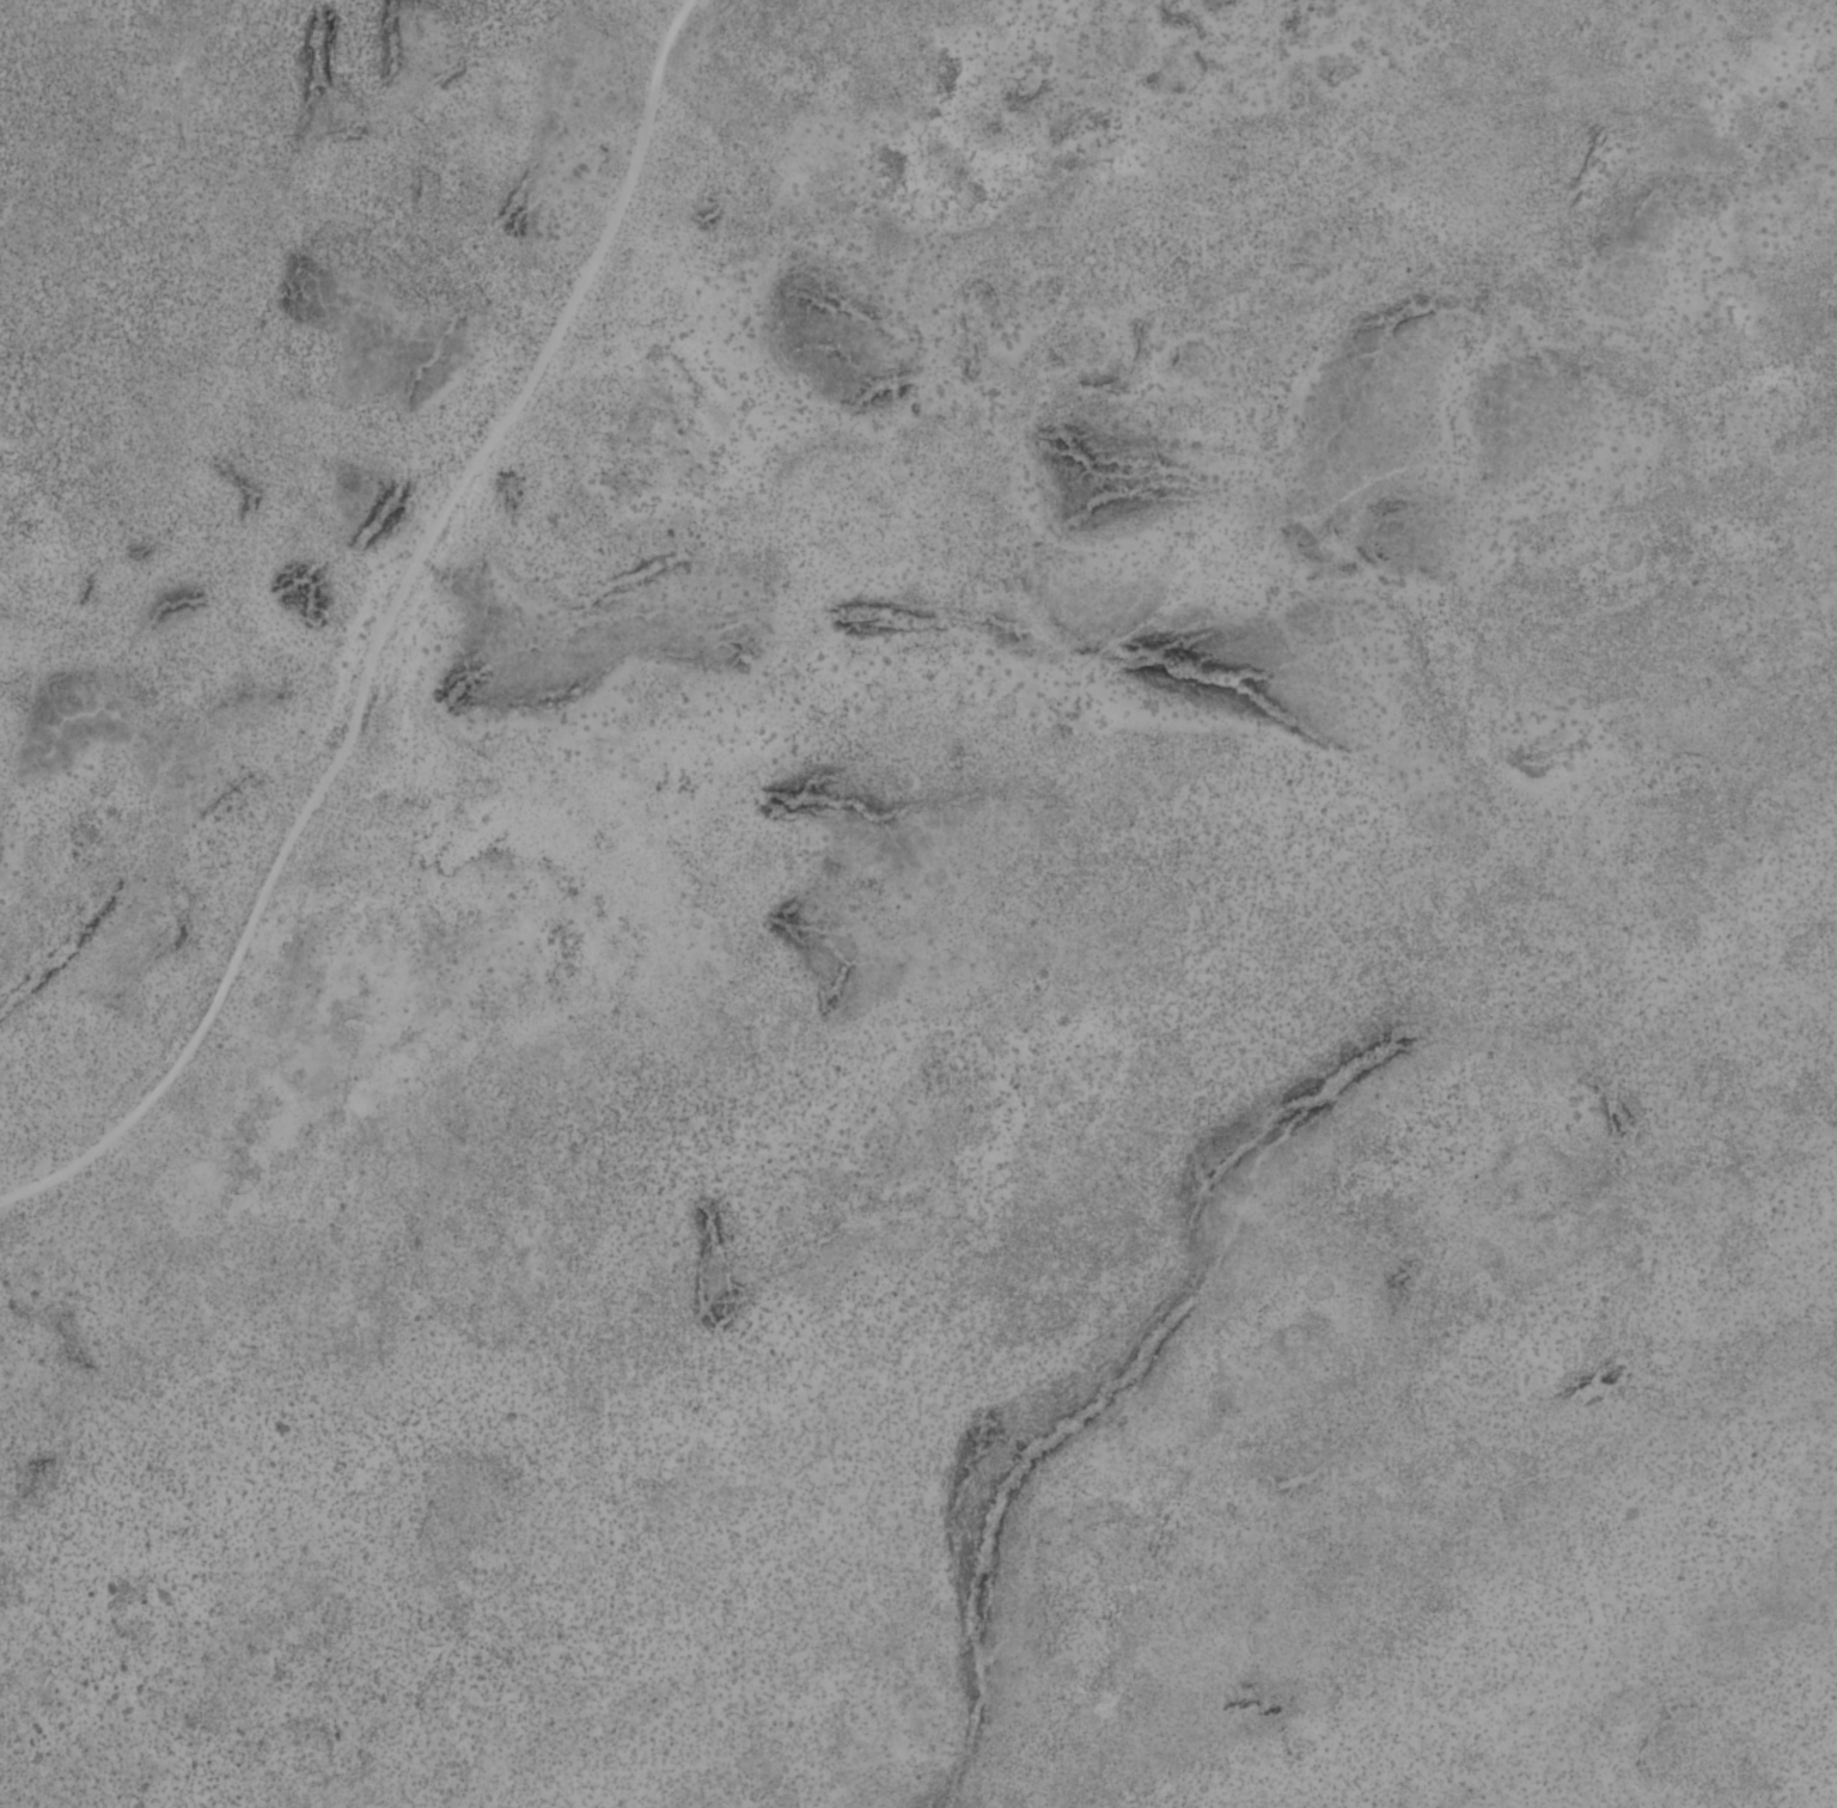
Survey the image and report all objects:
road: (367, 625)

